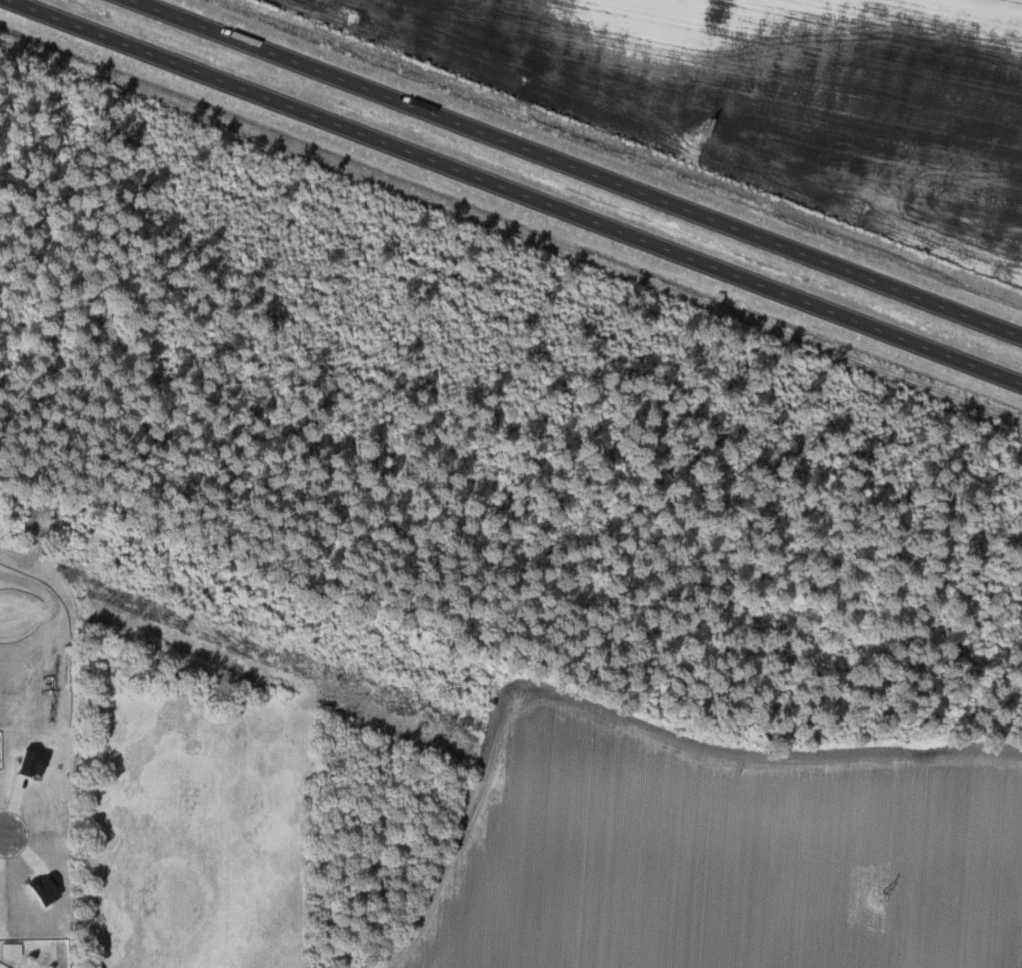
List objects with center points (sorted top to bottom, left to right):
road: (577, 168)
road: (516, 191)
road: (5, 612)
power tower: (450, 731)
road: (2, 835)
power tower: (878, 895)

